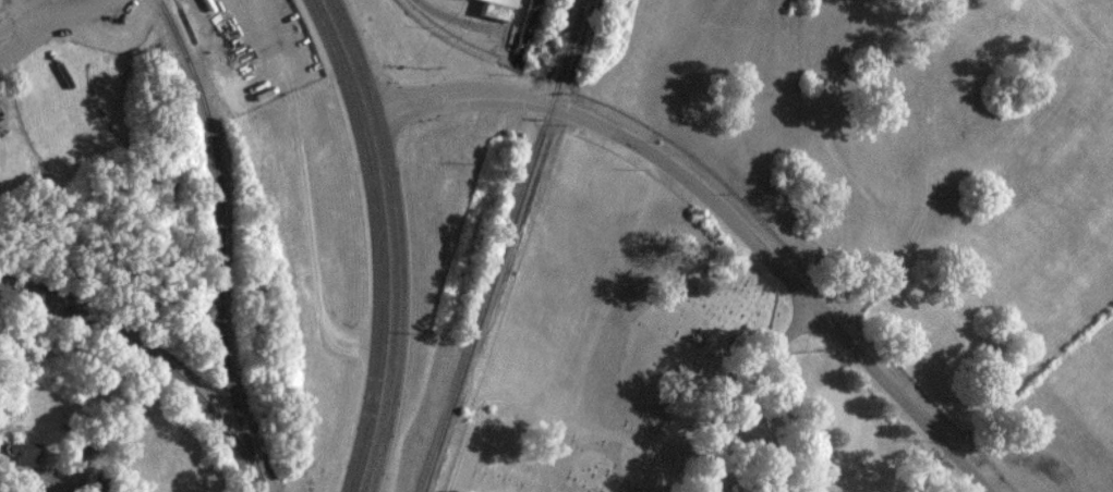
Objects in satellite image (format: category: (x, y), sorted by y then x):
building: (499, 2)
railway: (527, 30)
road: (347, 53)
road: (722, 209)
railway: (221, 243)
railway: (505, 246)
road: (390, 300)
park: (664, 355)
railway: (156, 358)
building: (25, 452)
building: (39, 480)

